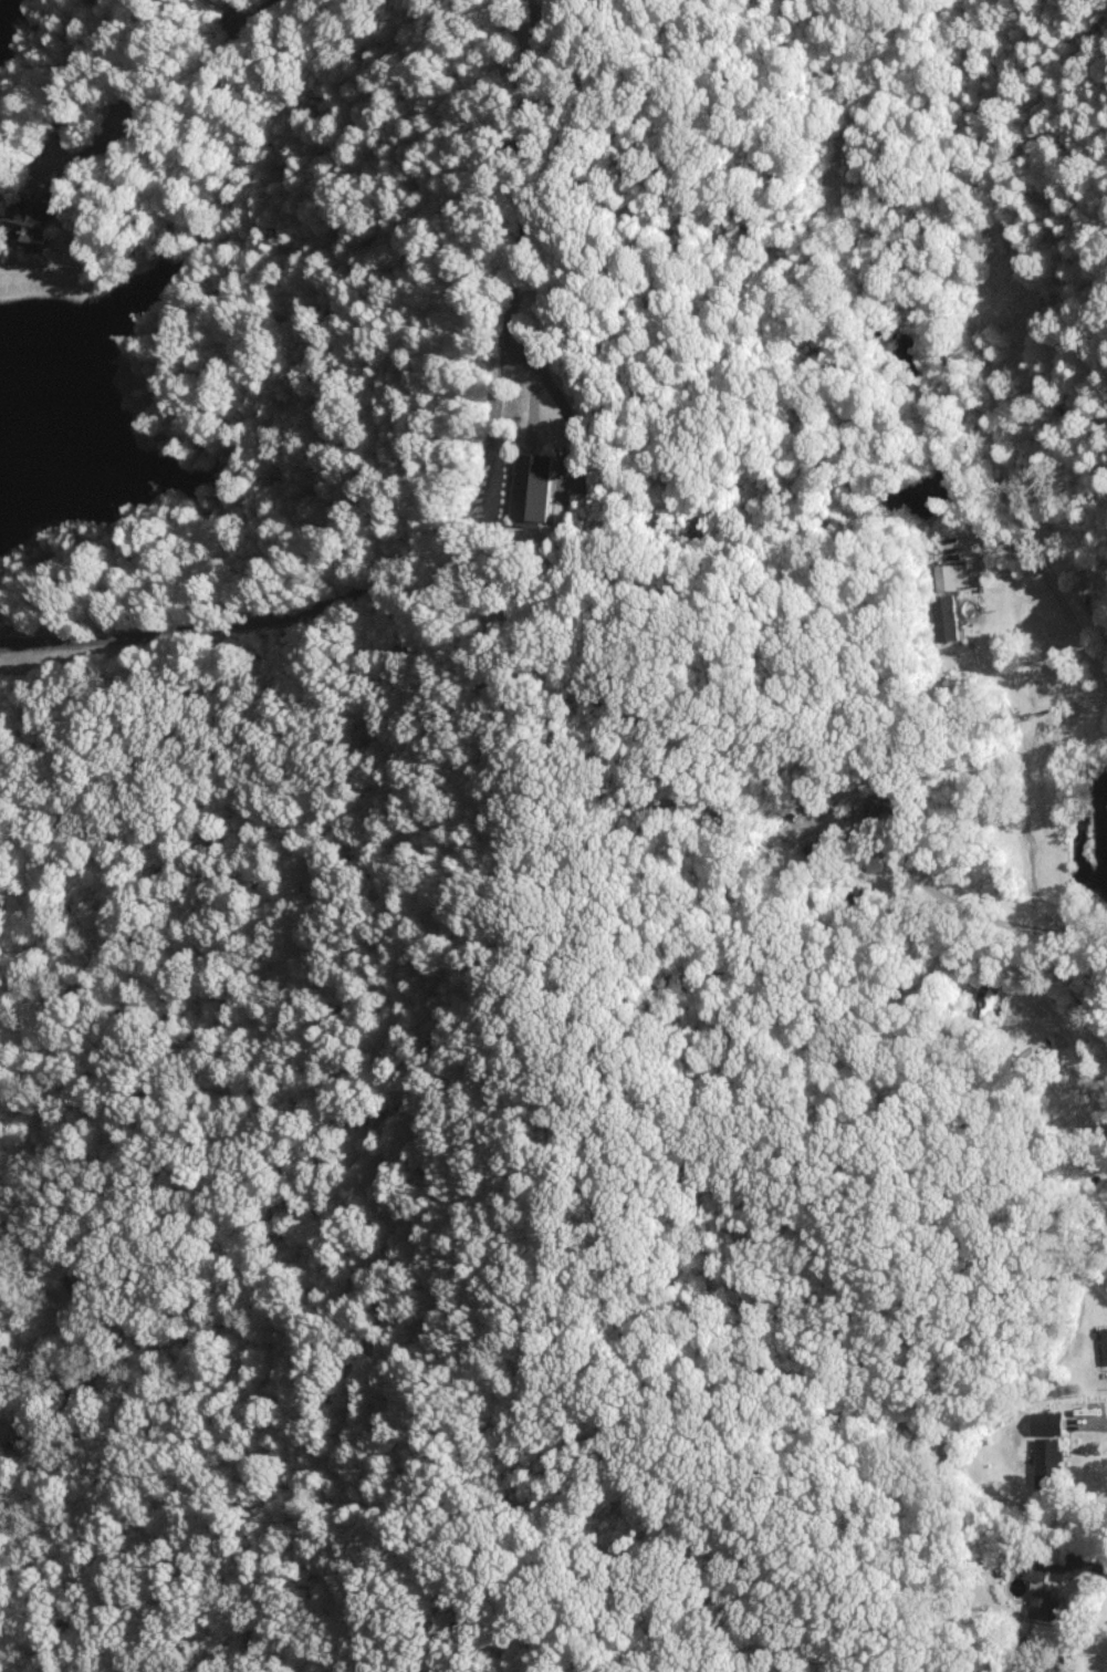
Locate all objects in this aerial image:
road: (71, 76)
road: (153, 95)
road: (698, 112)
road: (27, 176)
building: (35, 219)
road: (560, 398)
building: (534, 486)
road: (471, 492)
building: (958, 574)
road: (1051, 586)
building: (883, 804)
road: (1053, 911)
road: (1072, 1047)
building: (1105, 1343)
road: (1090, 1424)
building: (1048, 1448)
building: (1034, 1568)
building: (1044, 1603)

